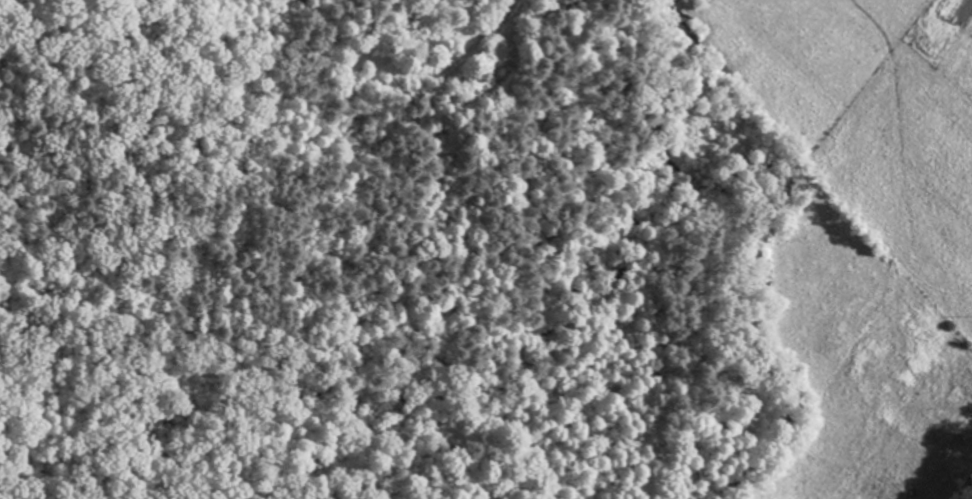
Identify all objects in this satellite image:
road: (965, 484)

